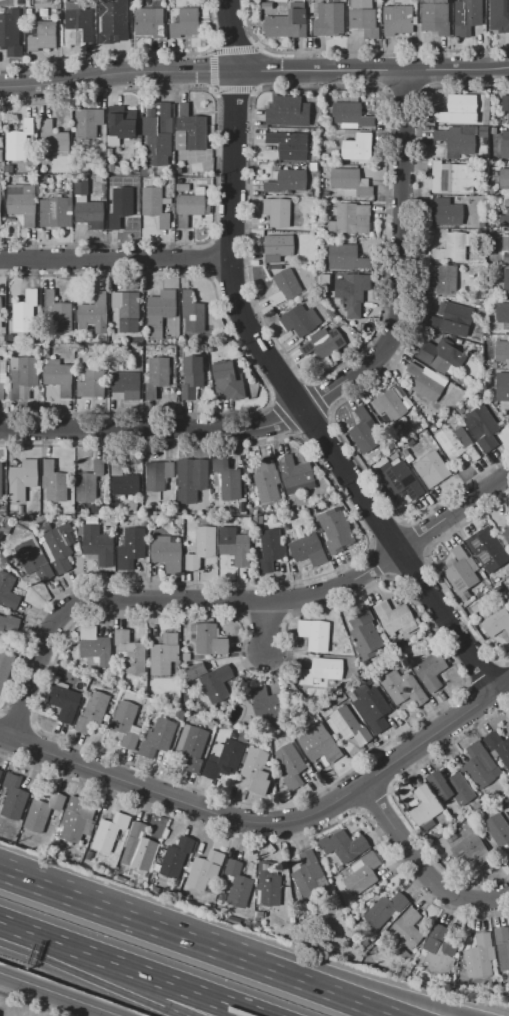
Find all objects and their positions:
building: (466, 14)
building: (498, 15)
building: (436, 16)
building: (364, 18)
building: (329, 19)
building: (398, 19)
building: (80, 20)
building: (112, 22)
building: (150, 22)
building: (287, 22)
building: (185, 23)
building: (10, 32)
road: (231, 34)
building: (43, 36)
road: (371, 69)
road: (116, 73)
building: (505, 103)
building: (462, 109)
building: (288, 111)
building: (351, 115)
building: (508, 119)
building: (88, 122)
building: (124, 123)
building: (191, 130)
building: (157, 134)
building: (35, 139)
building: (456, 141)
building: (289, 144)
building: (505, 145)
building: (356, 146)
building: (315, 166)
building: (9, 168)
building: (110, 168)
building: (136, 168)
building: (179, 170)
building: (144, 171)
building: (453, 178)
building: (504, 180)
building: (180, 181)
building: (288, 182)
building: (350, 182)
building: (81, 187)
building: (183, 187)
building: (167, 200)
building: (22, 204)
building: (154, 205)
building: (121, 206)
building: (192, 206)
building: (1, 207)
building: (54, 212)
building: (277, 212)
building: (447, 212)
building: (91, 214)
building: (352, 218)
building: (504, 218)
building: (321, 231)
building: (278, 247)
building: (453, 248)
building: (505, 248)
road: (115, 258)
building: (346, 258)
building: (326, 276)
building: (445, 278)
building: (503, 282)
building: (285, 287)
building: (353, 292)
building: (1, 309)
building: (127, 310)
building: (160, 311)
building: (25, 312)
building: (57, 312)
building: (502, 312)
building: (94, 313)
building: (192, 313)
building: (452, 319)
building: (300, 320)
building: (3, 329)
building: (135, 340)
building: (323, 343)
building: (17, 348)
building: (502, 351)
building: (46, 352)
building: (439, 354)
building: (494, 365)
building: (23, 374)
building: (59, 376)
building: (157, 376)
building: (192, 376)
building: (493, 377)
building: (227, 381)
building: (427, 381)
building: (90, 382)
building: (2, 384)
building: (126, 384)
road: (334, 385)
building: (502, 386)
building: (406, 401)
road: (297, 402)
building: (389, 404)
building: (462, 411)
building: (483, 428)
building: (364, 431)
building: (456, 441)
building: (392, 446)
building: (408, 455)
building: (395, 456)
building: (432, 469)
building: (158, 474)
building: (296, 475)
building: (22, 478)
building: (122, 479)
building: (226, 479)
building: (1, 480)
building: (267, 480)
building: (54, 481)
building: (193, 481)
building: (403, 481)
building: (89, 482)
building: (248, 489)
building: (133, 506)
building: (96, 508)
building: (182, 511)
building: (508, 513)
building: (112, 518)
building: (212, 518)
building: (507, 518)
building: (226, 519)
building: (259, 520)
building: (286, 526)
building: (6, 528)
building: (336, 530)
building: (506, 534)
building: (97, 545)
building: (235, 545)
building: (131, 547)
building: (202, 547)
building: (59, 548)
building: (488, 548)
building: (267, 549)
building: (309, 549)
building: (166, 553)
building: (37, 557)
building: (506, 570)
building: (461, 572)
building: (8, 591)
building: (508, 591)
road: (236, 600)
building: (467, 602)
building: (396, 617)
building: (496, 621)
building: (9, 624)
road: (269, 628)
building: (315, 634)
building: (365, 634)
building: (209, 638)
building: (429, 638)
building: (93, 646)
building: (130, 652)
building: (164, 653)
building: (185, 655)
building: (5, 669)
building: (197, 671)
building: (430, 672)
building: (321, 673)
building: (370, 679)
building: (217, 682)
building: (142, 683)
building: (403, 688)
building: (351, 694)
building: (206, 699)
building: (337, 699)
building: (64, 700)
building: (267, 702)
building: (372, 707)
building: (93, 711)
building: (180, 713)
building: (126, 724)
building: (350, 725)
building: (159, 737)
building: (243, 737)
building: (252, 741)
building: (319, 744)
building: (498, 746)
building: (191, 748)
building: (223, 758)
building: (291, 766)
building: (480, 766)
building: (257, 771)
building: (1, 772)
building: (452, 787)
building: (12, 797)
building: (505, 800)
building: (413, 802)
building: (425, 805)
building: (477, 805)
building: (43, 811)
building: (77, 819)
building: (466, 824)
road: (267, 825)
building: (428, 826)
building: (498, 829)
building: (110, 831)
building: (345, 846)
building: (138, 848)
building: (472, 849)
building: (89, 855)
building: (176, 856)
building: (205, 870)
road: (418, 871)
building: (363, 874)
building: (309, 875)
building: (237, 884)
building: (268, 884)
road: (100, 907)
building: (386, 908)
building: (259, 913)
building: (292, 920)
building: (407, 928)
building: (292, 934)
road: (66, 944)
building: (502, 947)
building: (438, 951)
building: (406, 955)
building: (480, 955)
road: (338, 972)
road: (296, 980)
road: (197, 992)
road: (57, 995)
road: (161, 999)

